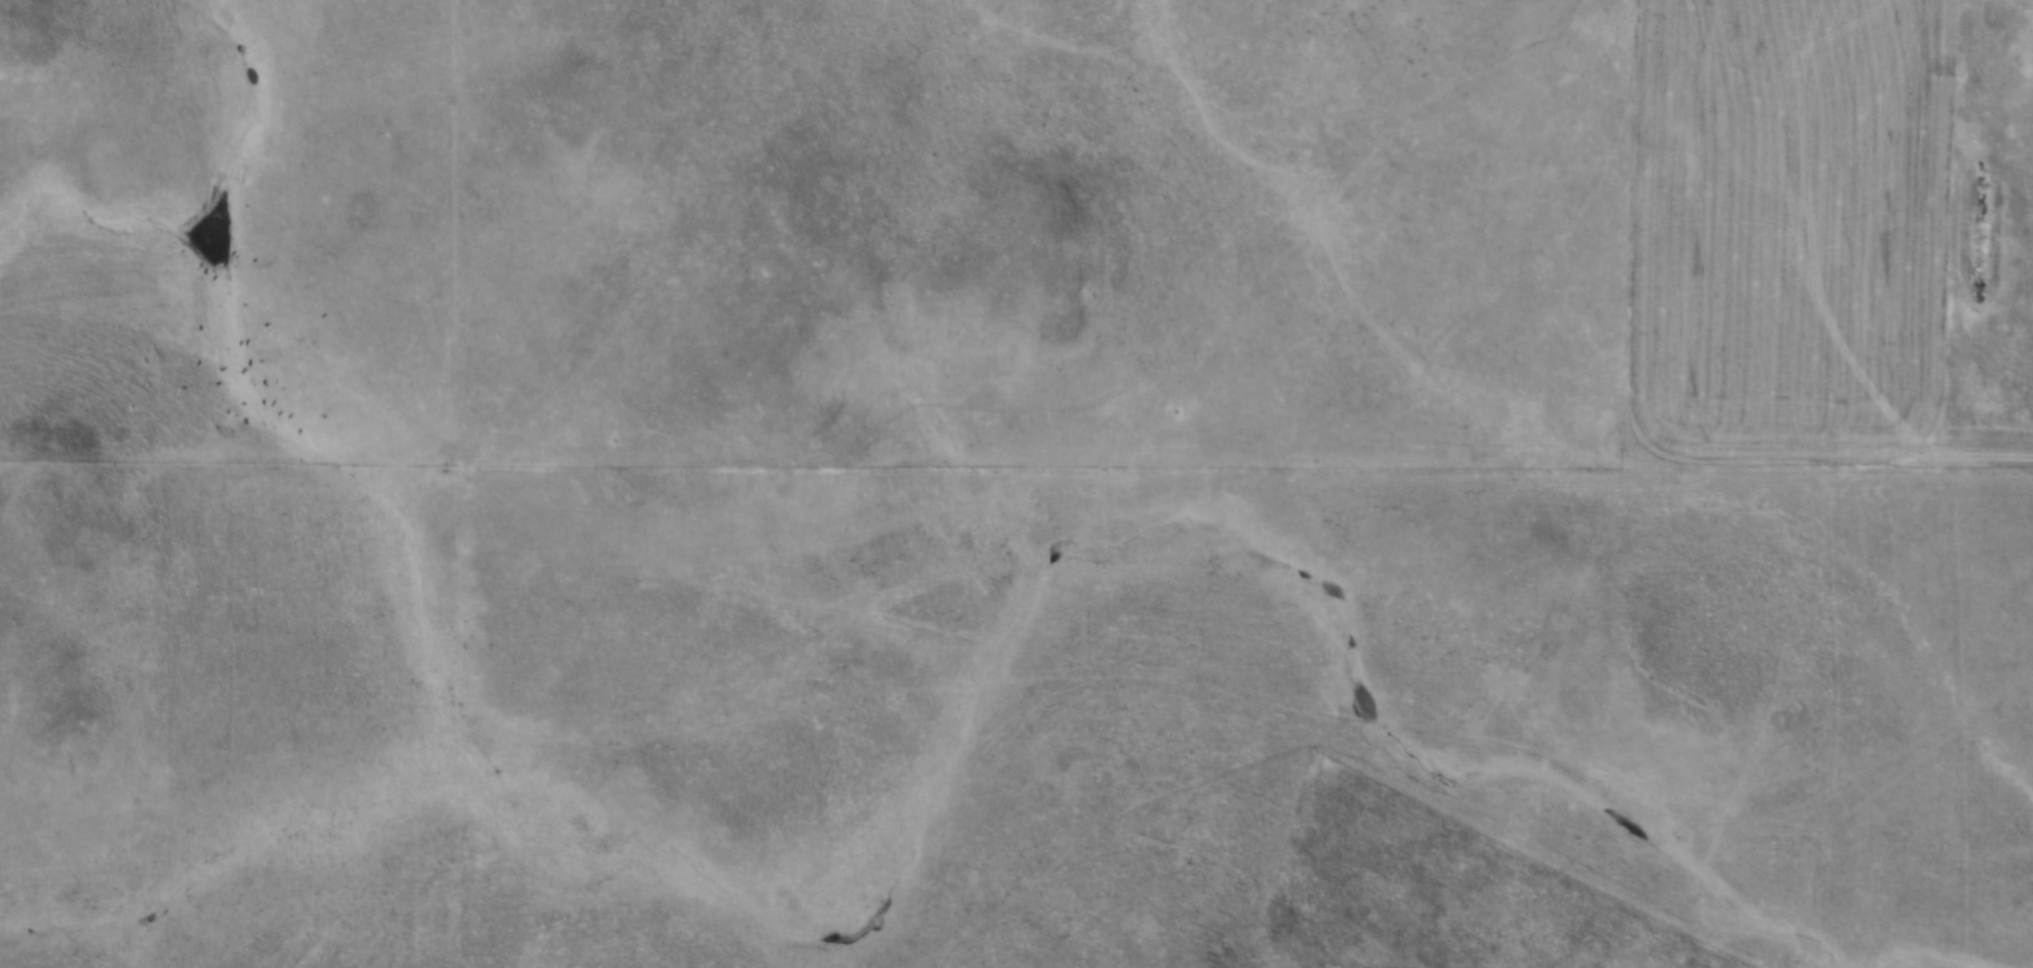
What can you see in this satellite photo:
road: (454, 230)
road: (1016, 465)

